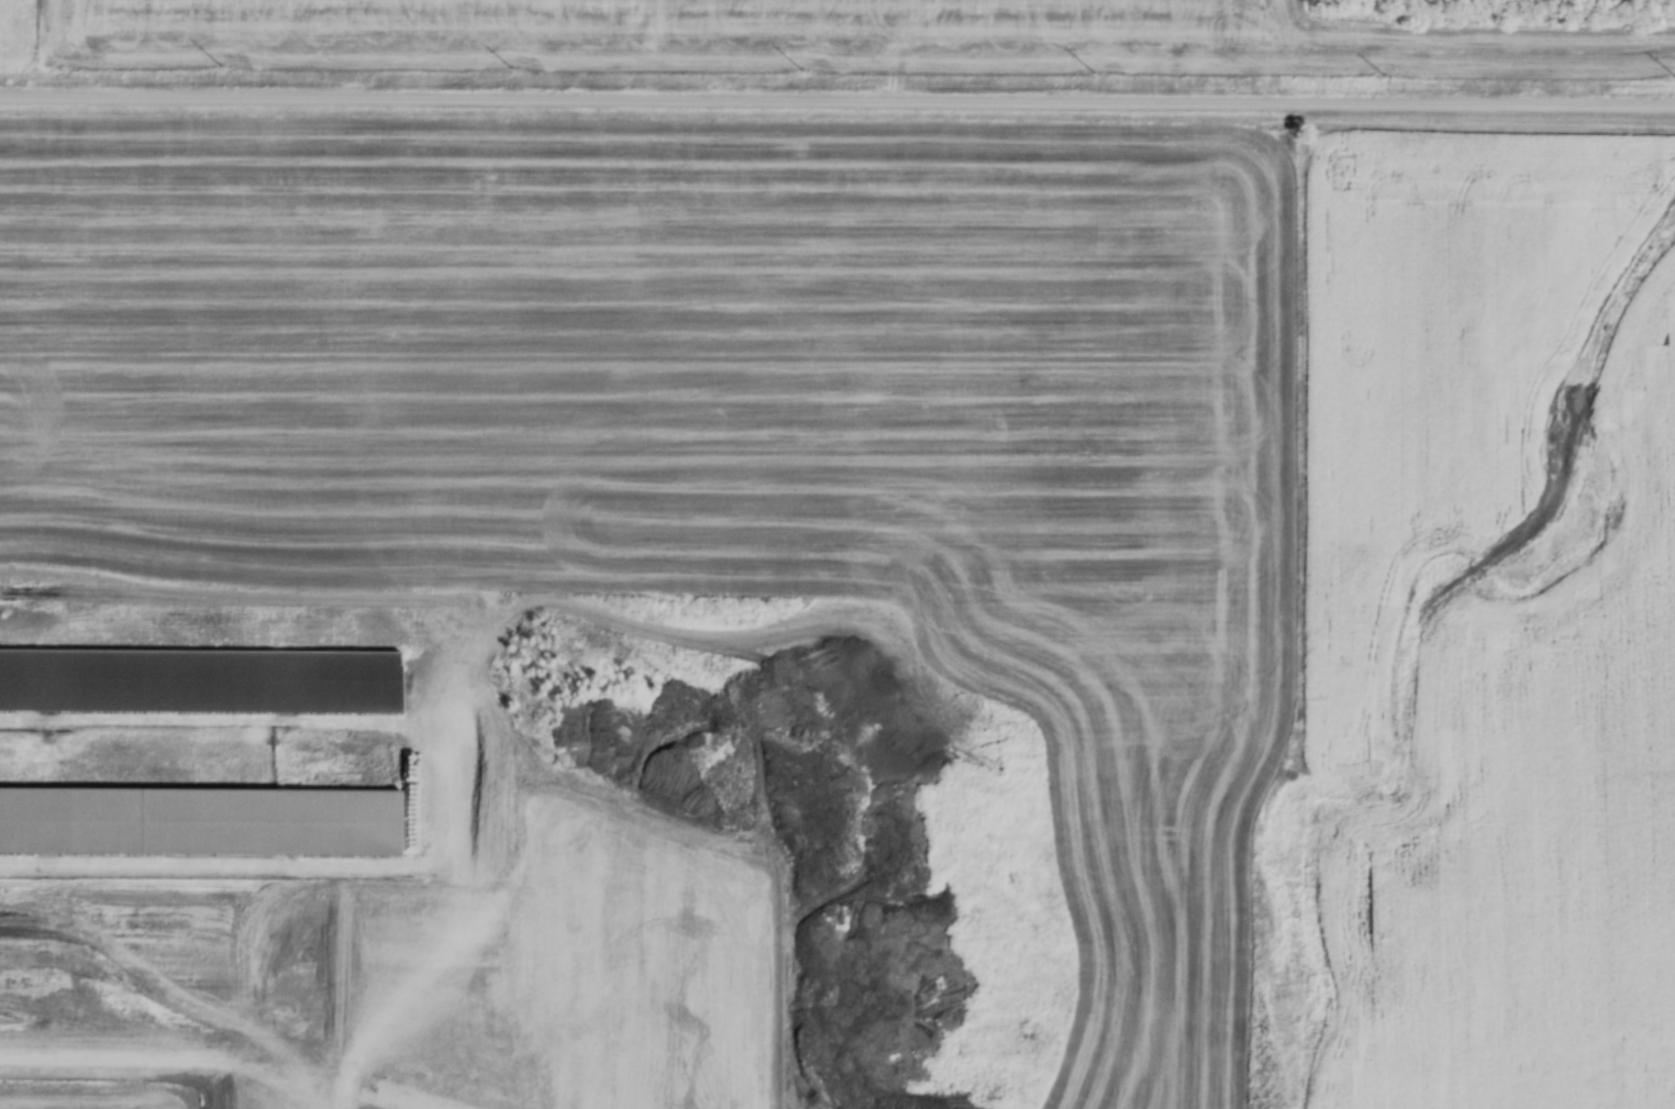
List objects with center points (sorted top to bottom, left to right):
road: (837, 97)
building: (200, 685)
building: (200, 827)

